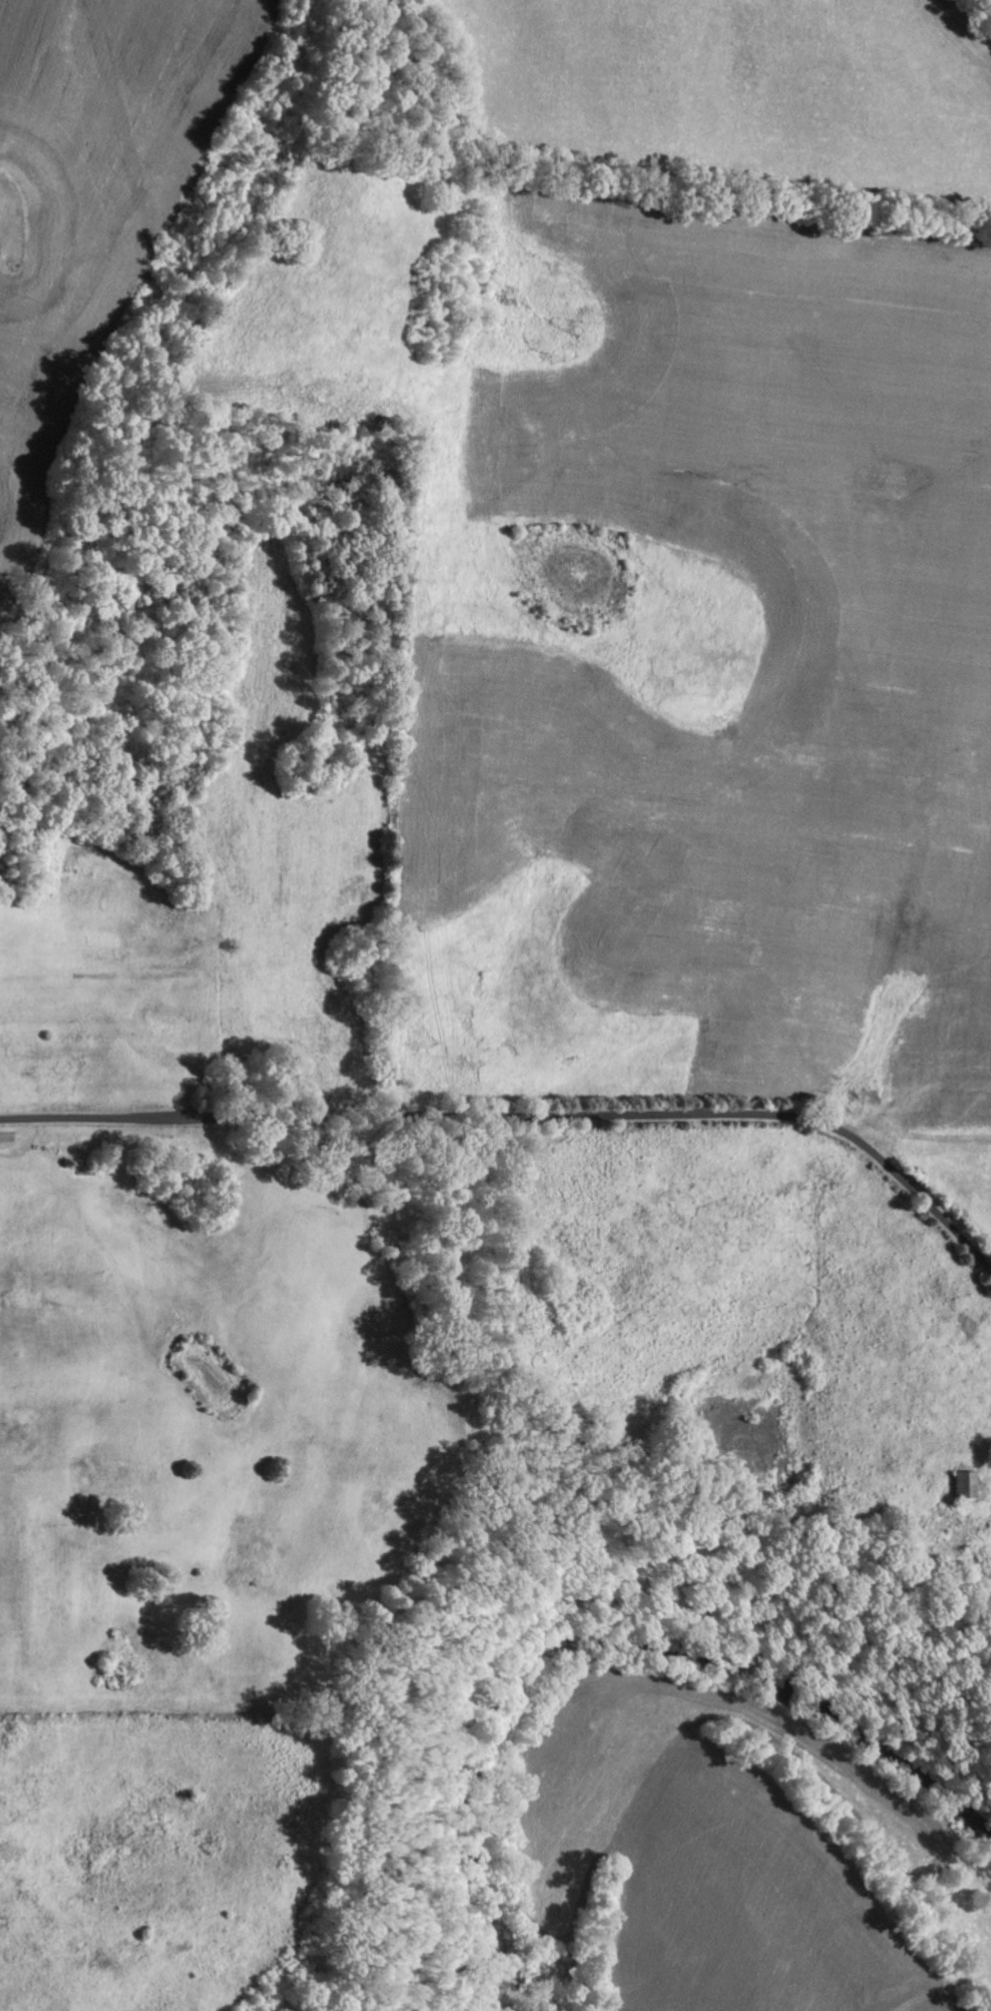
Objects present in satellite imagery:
road: (524, 1114)

